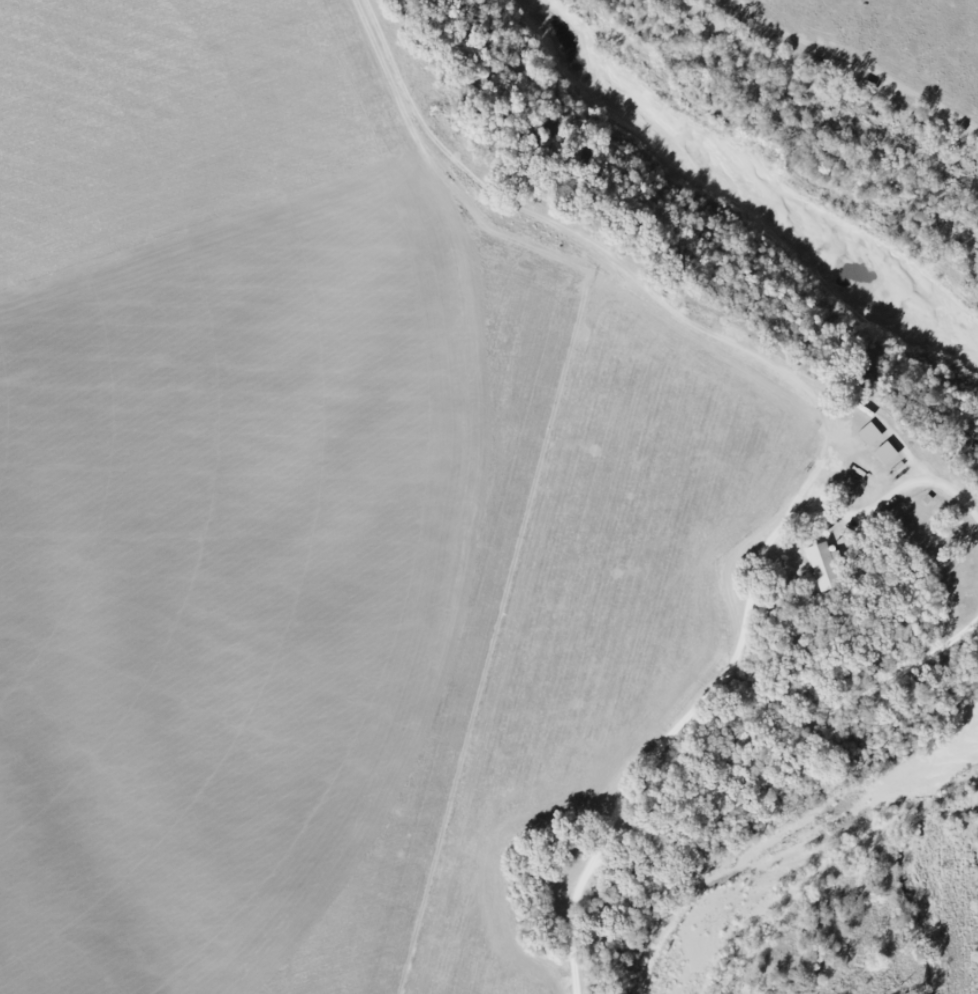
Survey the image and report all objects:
road: (797, 337)
road: (797, 464)
building: (829, 566)
road: (740, 884)
road: (894, 909)

